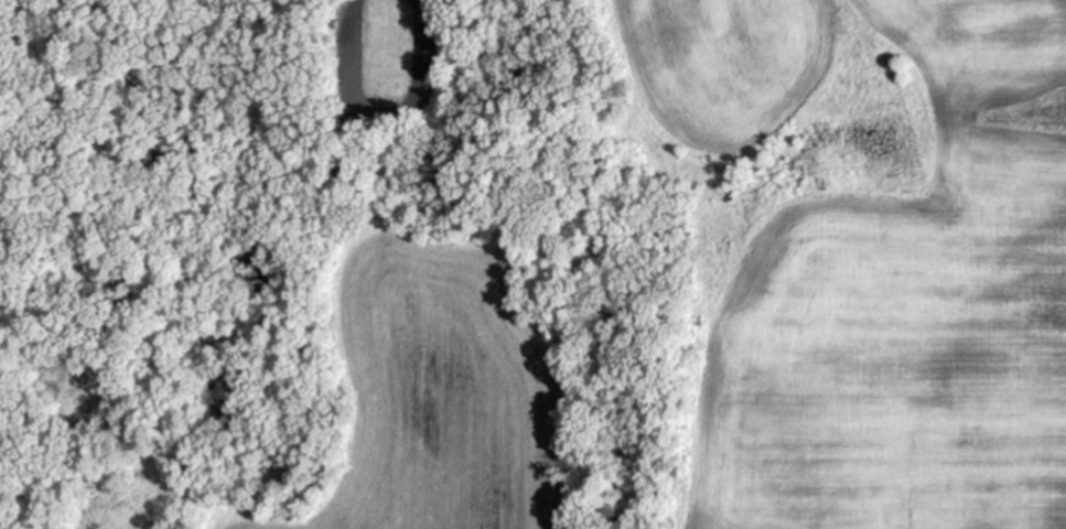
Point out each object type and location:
building: (360, 141)
building: (732, 197)

